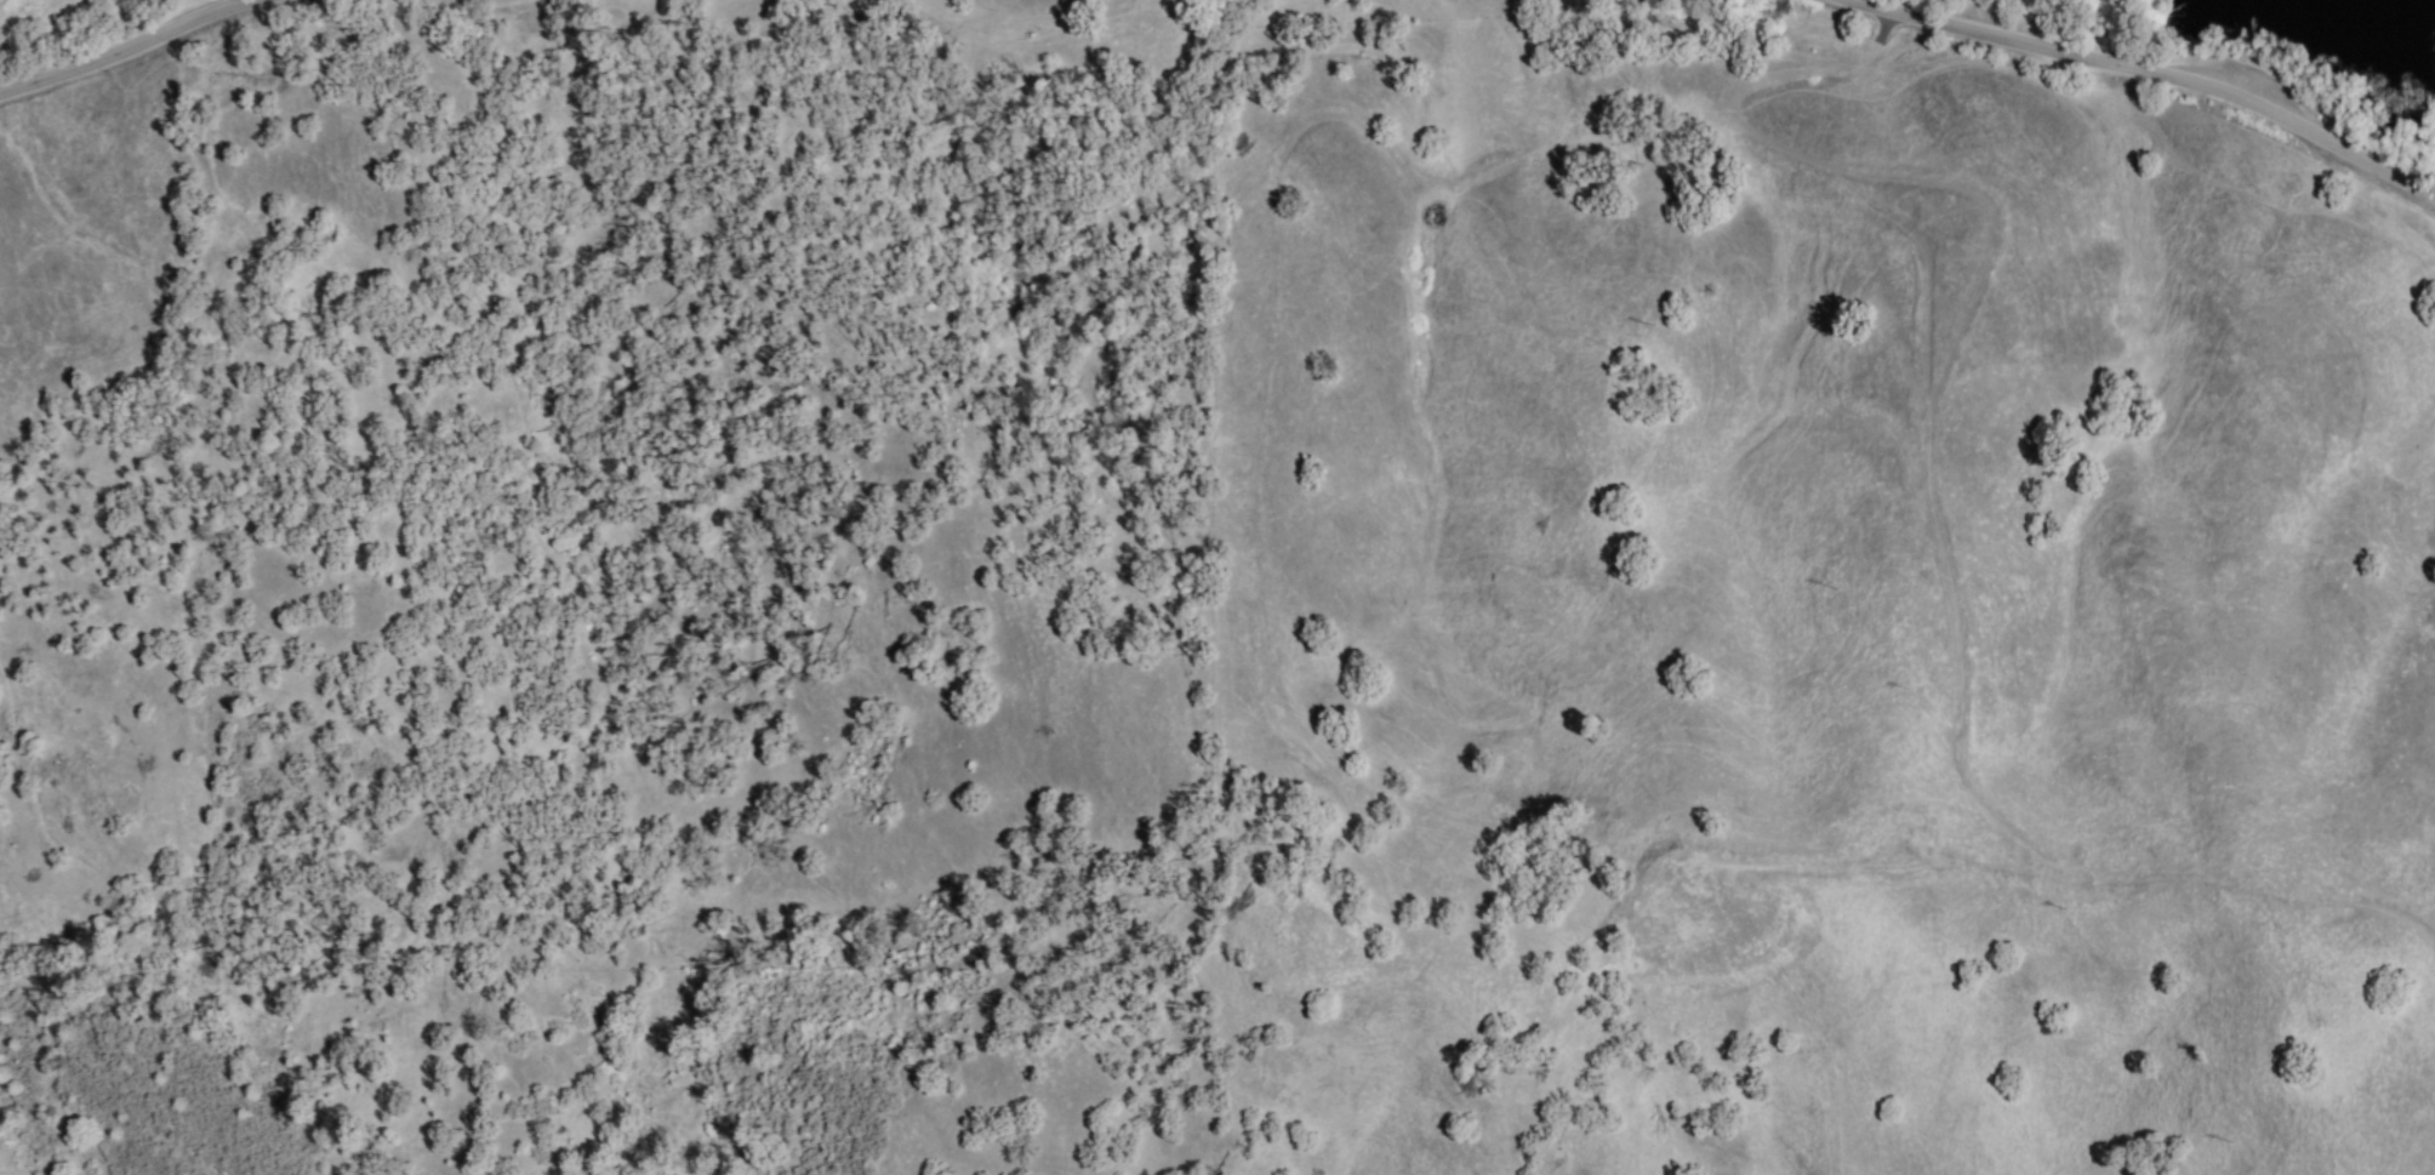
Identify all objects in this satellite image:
road: (137, 49)
road: (2149, 73)

